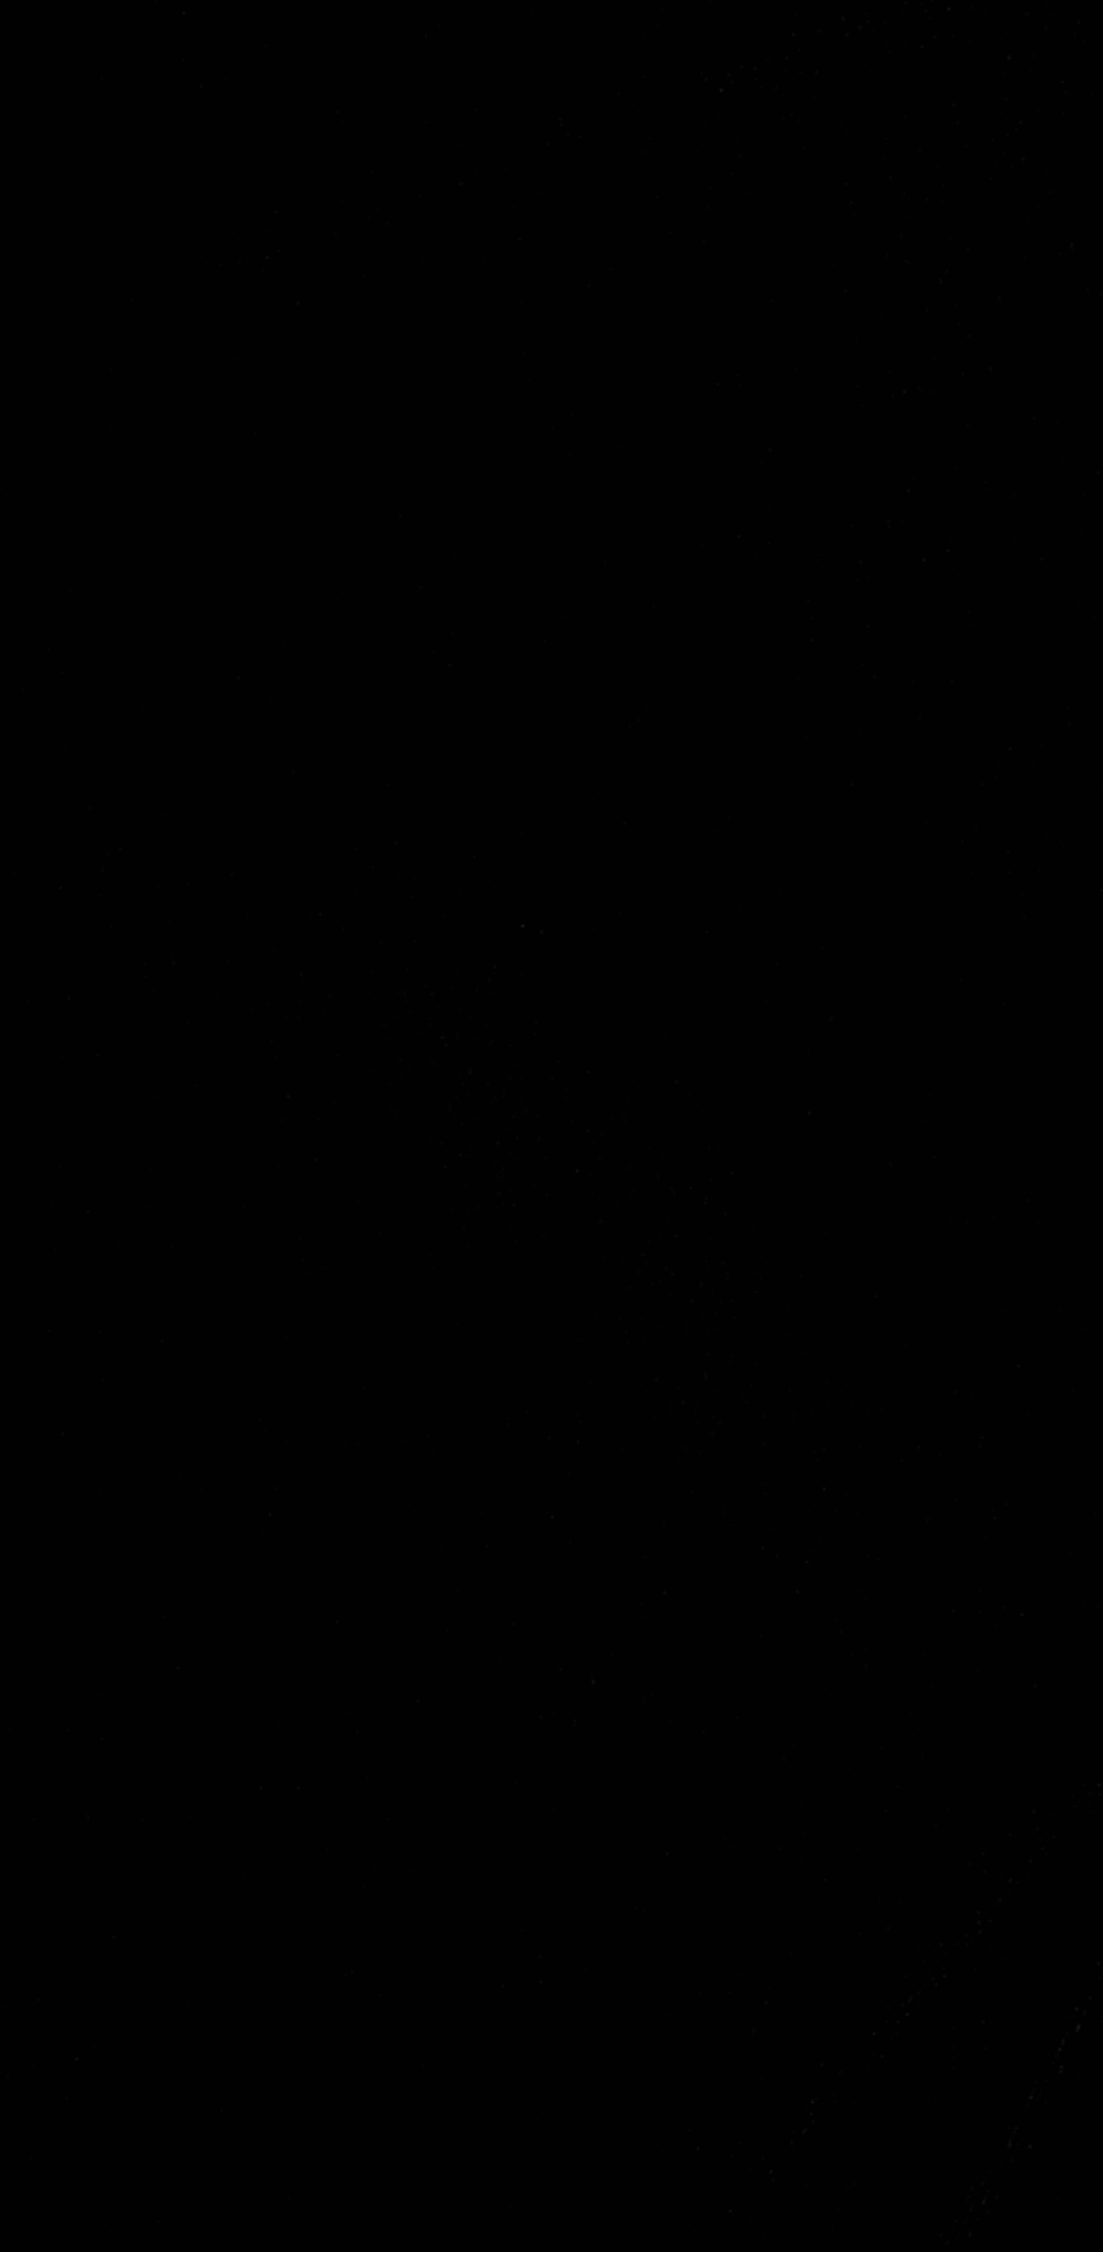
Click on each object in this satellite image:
river: (573, 816)

